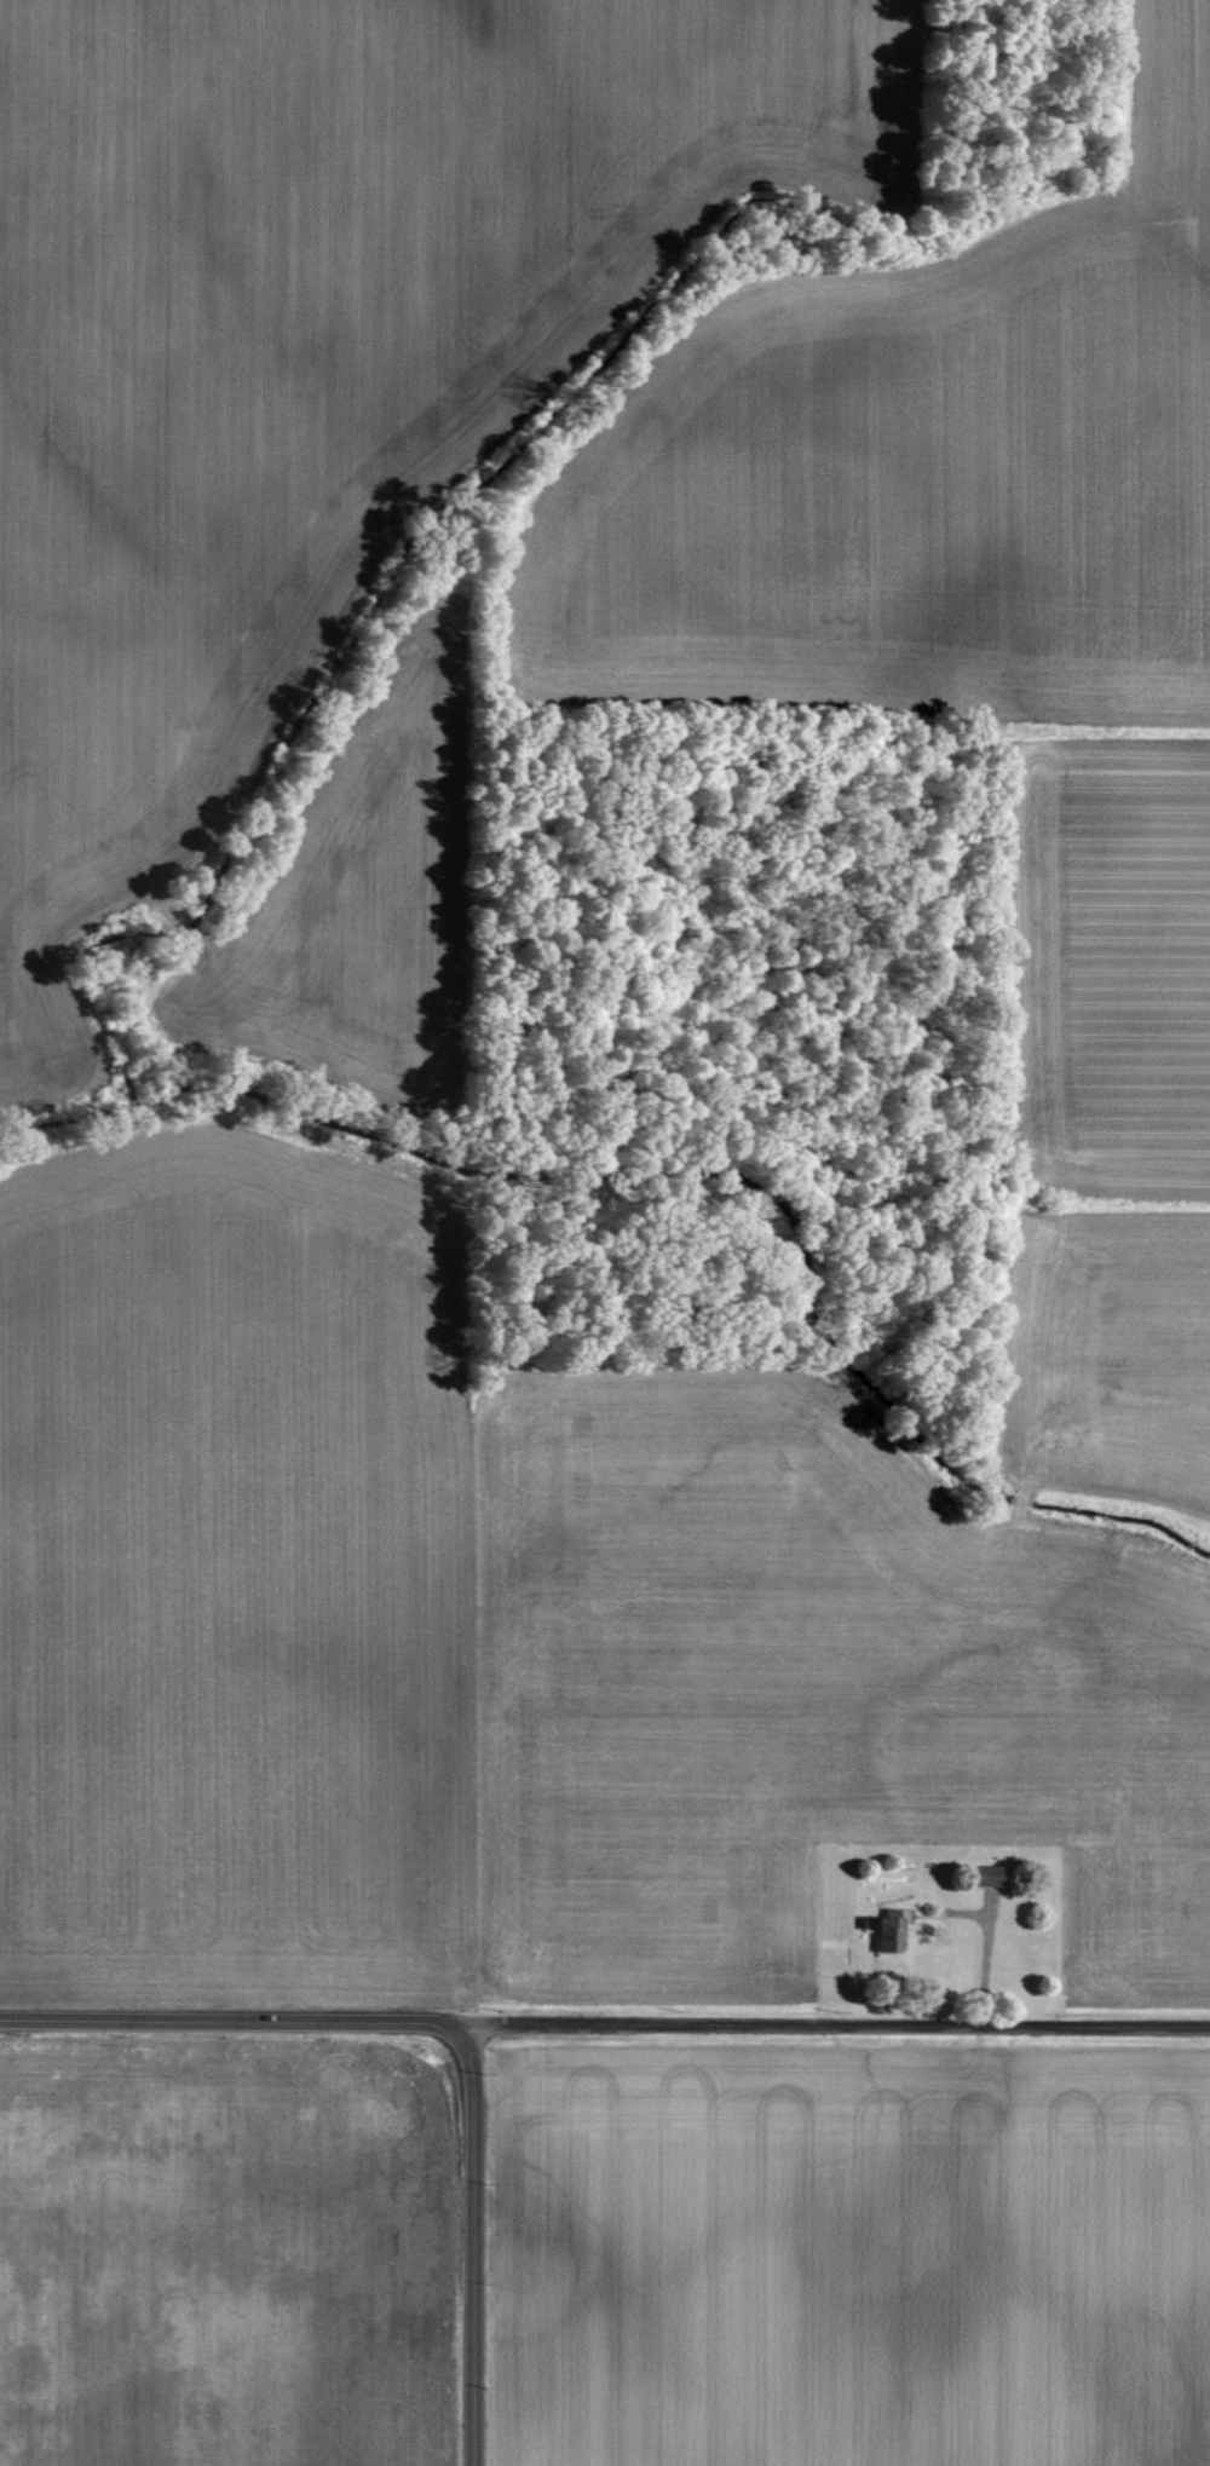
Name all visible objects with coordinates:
building: (989, 1876)
building: (894, 1931)
road: (235, 2023)
road: (839, 2026)
road: (469, 2246)

